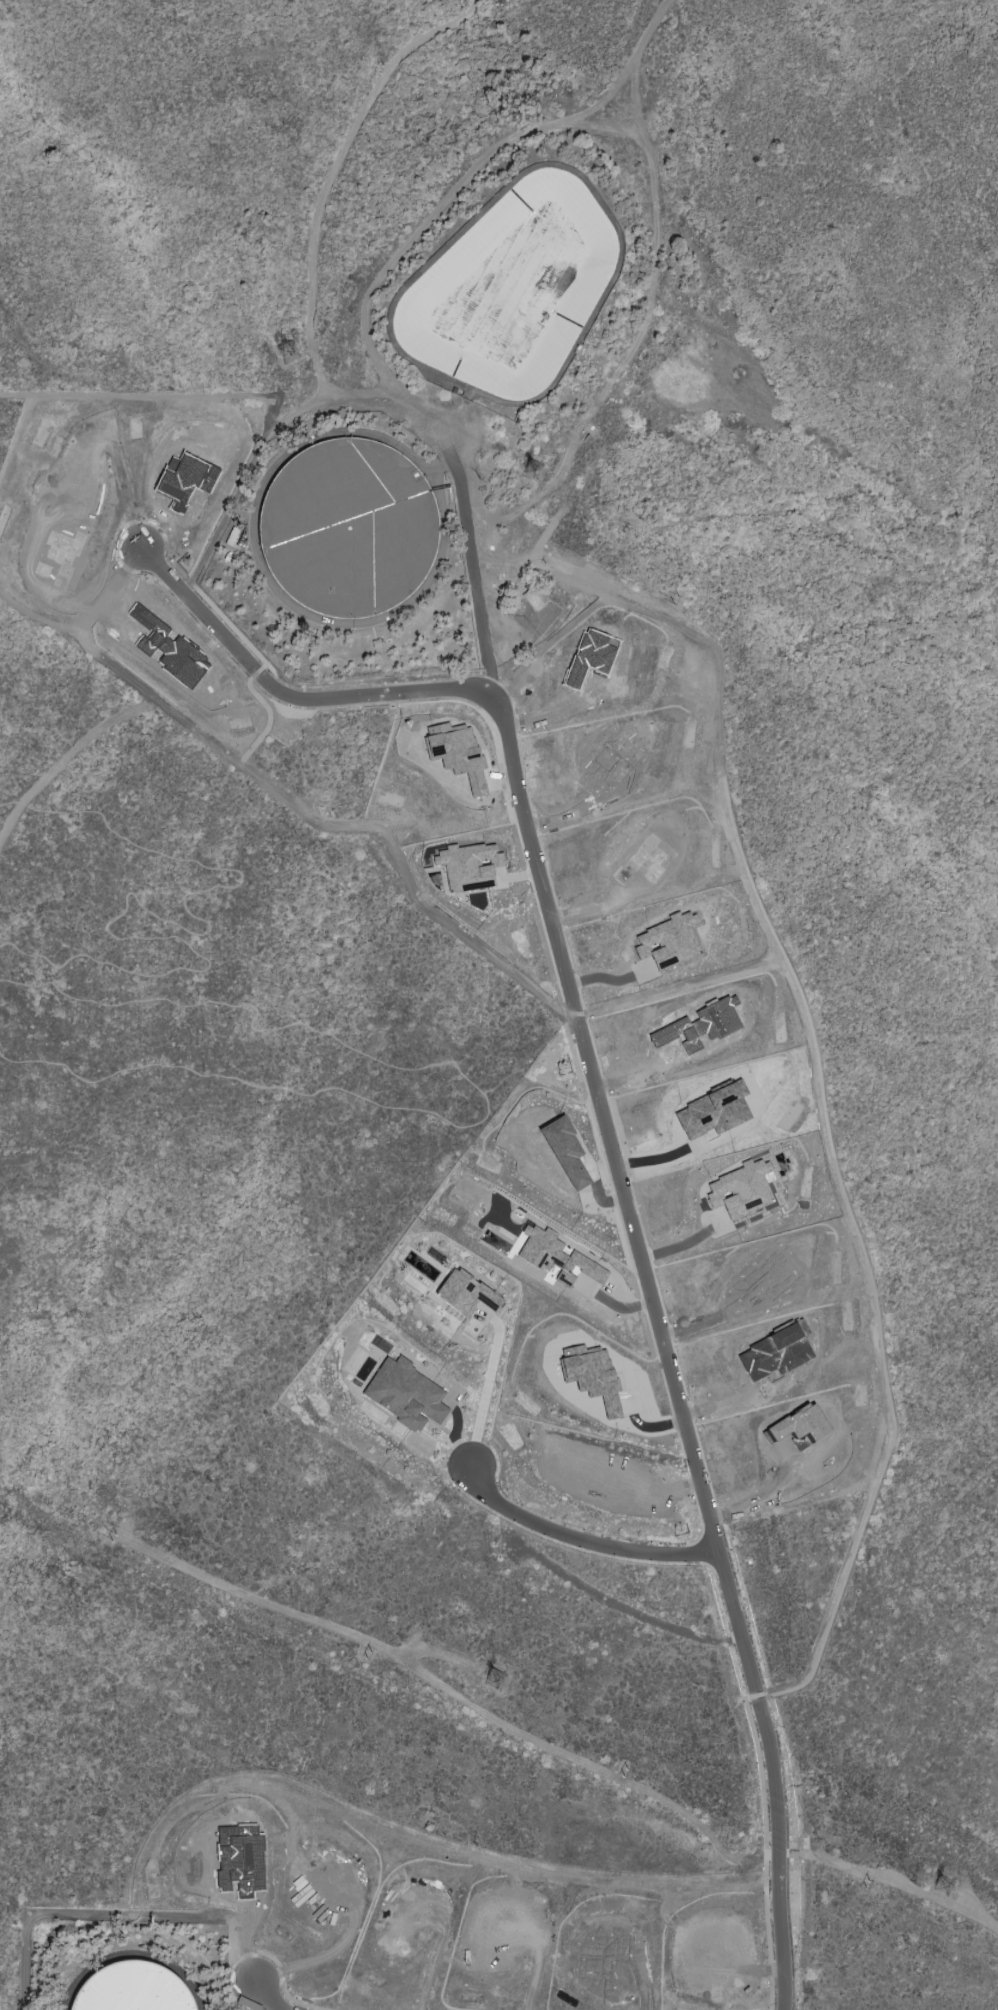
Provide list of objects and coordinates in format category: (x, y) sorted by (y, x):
road: (624, 69)
road: (336, 169)
road: (415, 230)
road: (639, 329)
power tower: (293, 357)
road: (146, 390)
road: (266, 428)
road: (447, 439)
power tower: (542, 479)
building: (186, 480)
power tower: (481, 480)
storage tank: (352, 531)
power tower: (670, 600)
building: (590, 656)
road: (284, 694)
road: (66, 756)
road: (297, 808)
building: (469, 866)
building: (669, 940)
road: (610, 979)
road: (677, 987)
building: (700, 1025)
road: (811, 1055)
building: (713, 1112)
building: (565, 1152)
building: (741, 1189)
road: (634, 1236)
road: (685, 1248)
building: (555, 1258)
building: (465, 1293)
building: (775, 1352)
building: (592, 1375)
building: (405, 1394)
road: (485, 1400)
building: (799, 1427)
road: (761, 1504)
road: (584, 1537)
power tower: (109, 1538)
power tower: (364, 1654)
power tower: (498, 1681)
road: (452, 1695)
power tower: (624, 1773)
road: (889, 1878)
power tower: (941, 1886)
power tower: (869, 1888)
road: (76, 1915)
road: (244, 1964)
building: (132, 1989)

